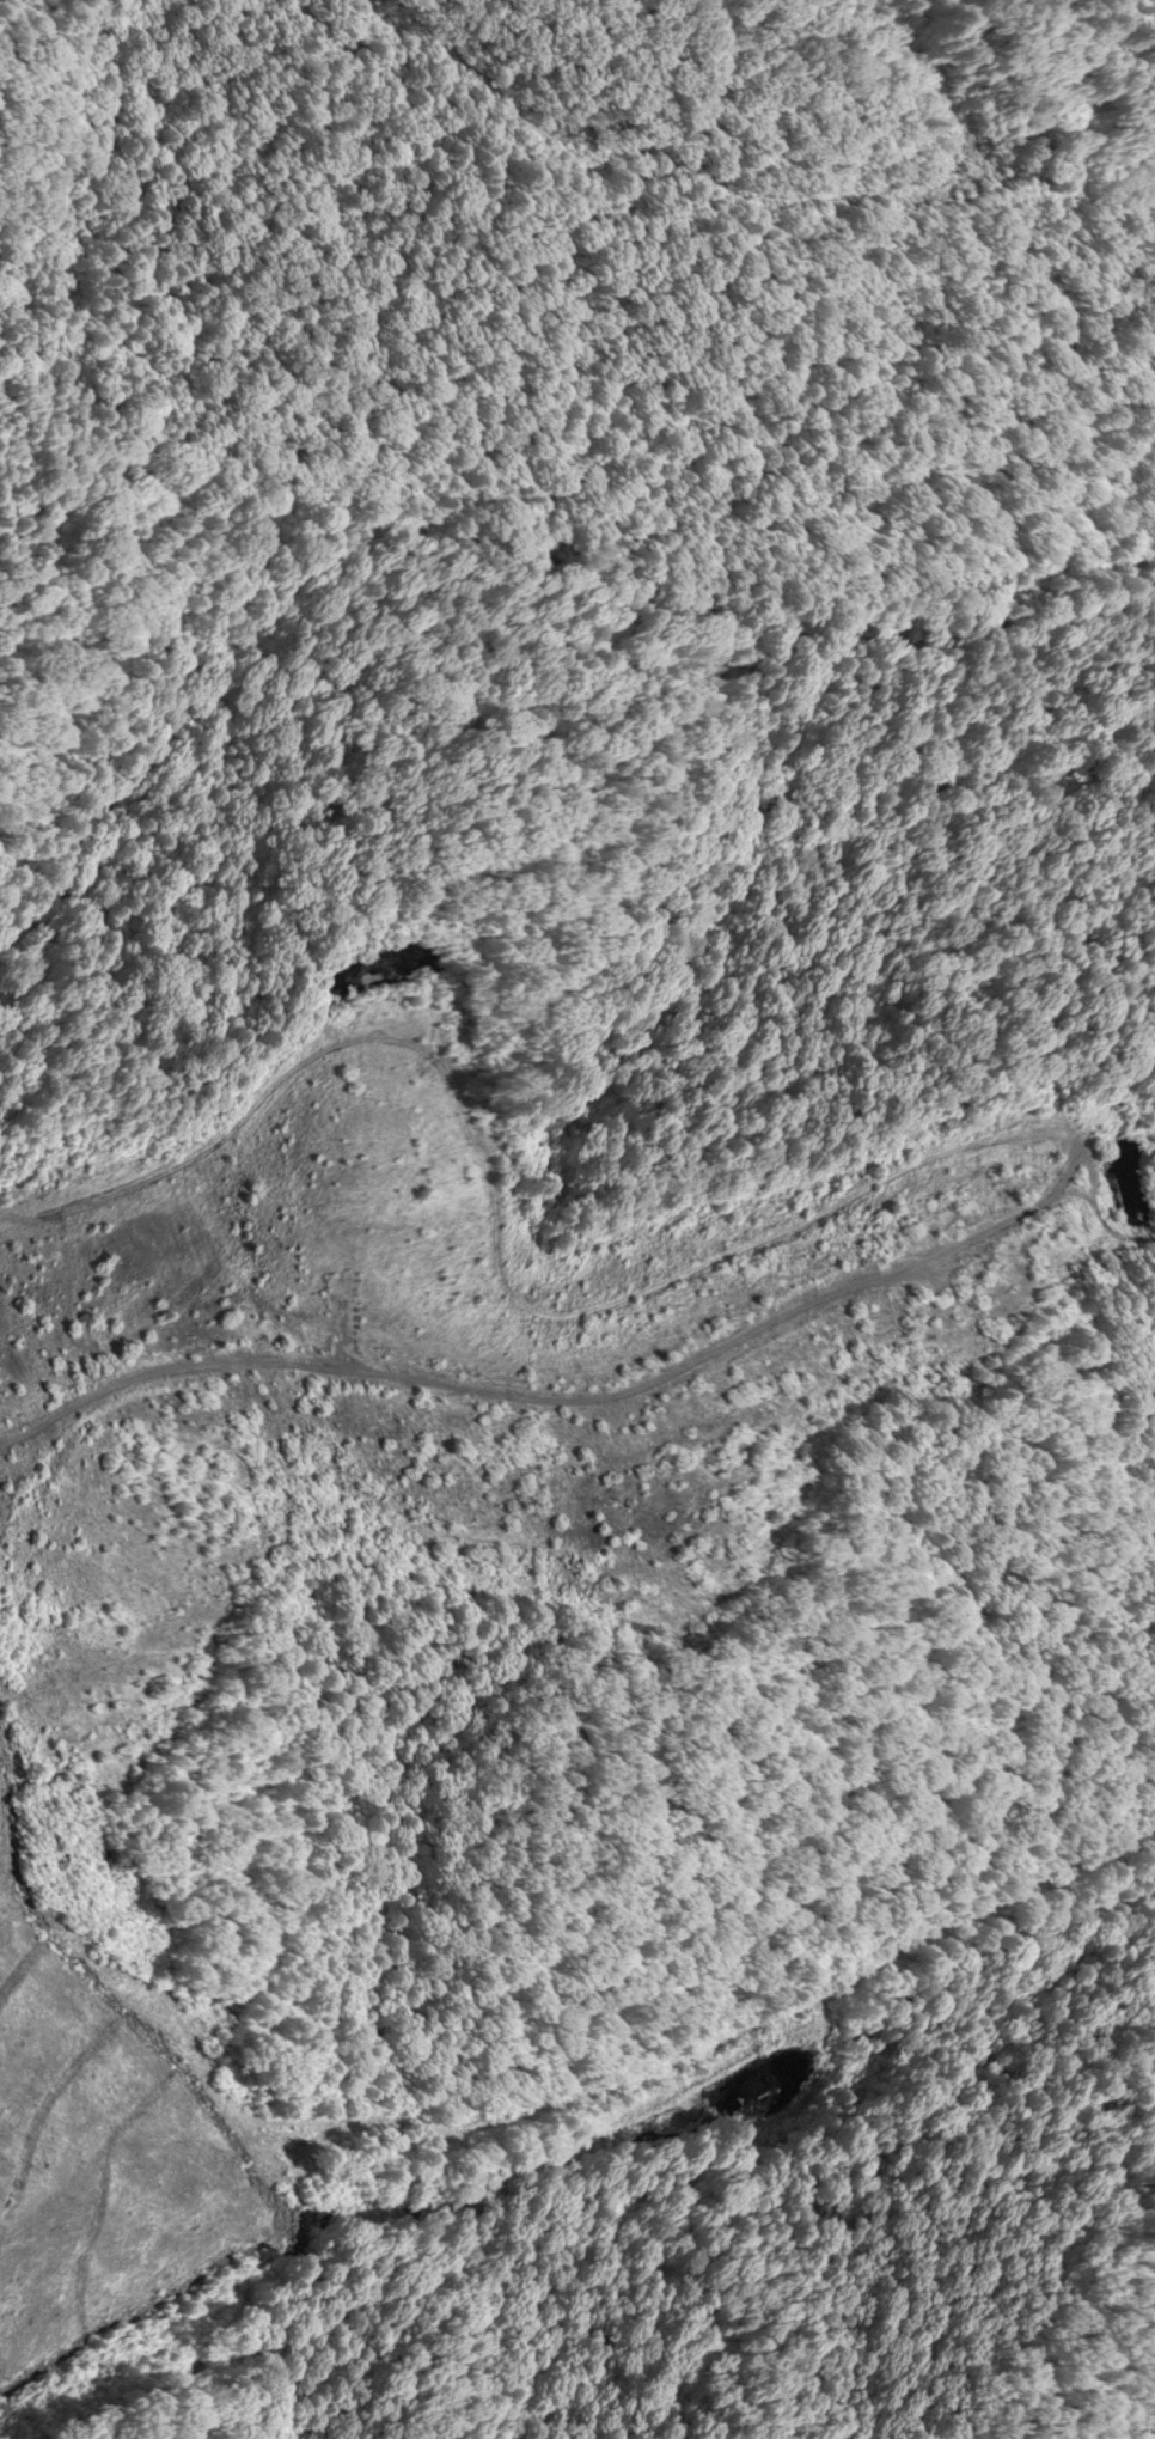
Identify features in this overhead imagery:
quarry: (501, 1394)

